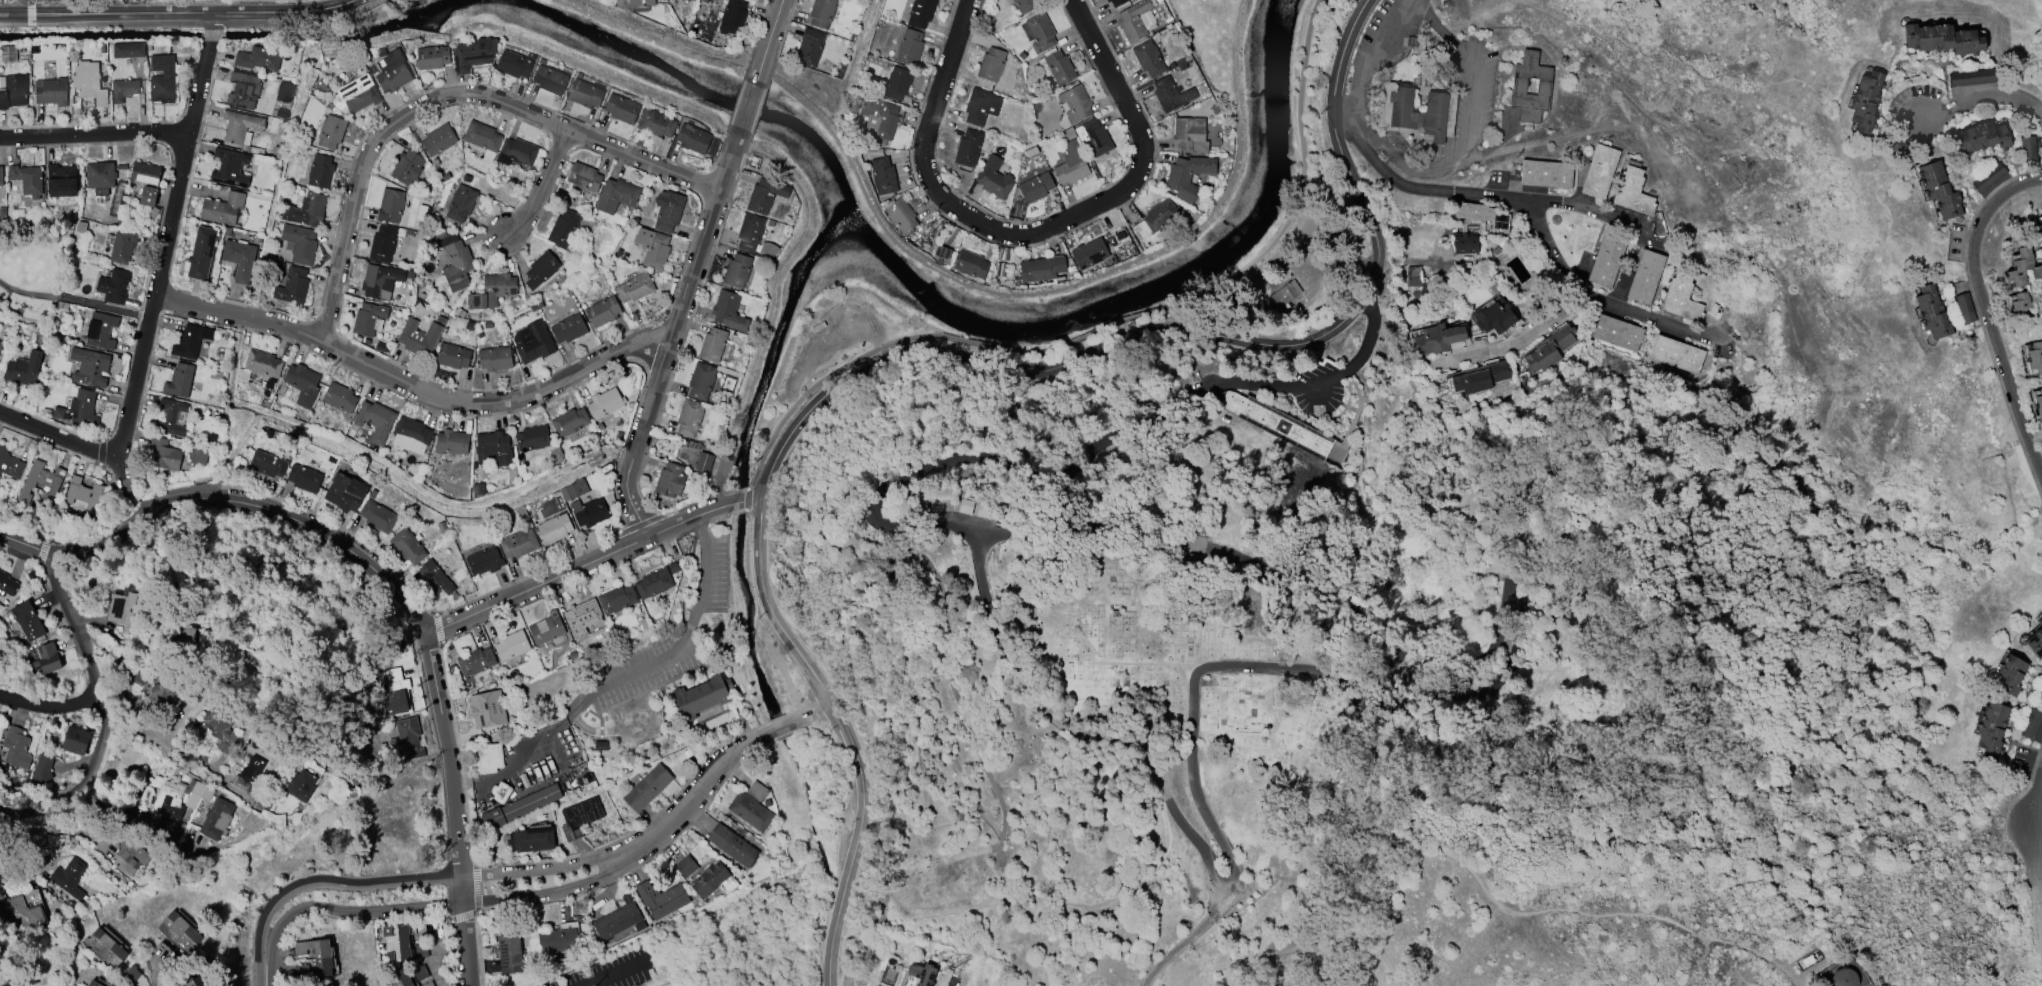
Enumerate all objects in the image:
building: (756, 0)
building: (637, 2)
building: (1116, 2)
road: (18, 5)
building: (1026, 6)
road: (178, 13)
building: (821, 13)
building: (920, 13)
building: (732, 17)
building: (1133, 21)
road: (212, 22)
road: (774, 26)
building: (1040, 32)
road: (210, 35)
building: (1942, 39)
building: (909, 46)
building: (809, 47)
building: (128, 50)
building: (8, 53)
building: (472, 53)
road: (1346, 53)
building: (431, 57)
building: (258, 58)
building: (1148, 58)
road: (1372, 60)
building: (512, 64)
building: (991, 64)
building: (1059, 67)
building: (393, 72)
building: (1972, 77)
building: (162, 79)
building: (549, 79)
building: (88, 82)
building: (897, 83)
building: (1518, 86)
building: (123, 90)
building: (243, 90)
building: (13, 91)
building: (50, 91)
building: (284, 92)
building: (359, 93)
building: (584, 93)
building: (1171, 94)
road: (445, 97)
road: (750, 101)
building: (1865, 101)
road: (1981, 101)
building: (1075, 103)
building: (980, 106)
building: (621, 109)
building: (1399, 112)
road: (1469, 114)
building: (879, 117)
building: (656, 123)
building: (240, 126)
road: (1363, 129)
building: (330, 132)
building: (1189, 134)
building: (481, 136)
building: (1095, 137)
building: (1982, 137)
building: (692, 139)
building: (438, 140)
road: (93, 141)
building: (968, 148)
building: (2028, 148)
building: (516, 152)
building: (1070, 165)
building: (407, 167)
building: (230, 168)
building: (320, 171)
building: (1599, 171)
building: (145, 173)
building: (1546, 174)
building: (883, 175)
building: (1, 176)
building: (1188, 176)
building: (99, 177)
building: (583, 177)
building: (1989, 177)
building: (994, 178)
building: (27, 180)
building: (61, 180)
building: (1035, 187)
road: (543, 188)
building: (1938, 190)
building: (1632, 192)
building: (616, 195)
building: (148, 196)
building: (764, 196)
building: (460, 202)
building: (390, 206)
road: (1587, 206)
building: (222, 208)
building: (305, 210)
building: (667, 210)
building: (901, 215)
building: (1482, 215)
building: (1160, 216)
road: (1527, 220)
building: (563, 228)
building: (2037, 231)
building: (749, 233)
road: (1037, 234)
building: (1465, 243)
building: (382, 244)
building: (122, 246)
building: (303, 247)
building: (652, 248)
road: (165, 251)
building: (942, 252)
building: (201, 253)
building: (1089, 253)
building: (239, 259)
building: (1606, 260)
building: (454, 261)
building: (970, 264)
building: (2022, 267)
building: (540, 269)
building: (1041, 269)
building: (737, 270)
park: (33, 275)
building: (1645, 277)
building: (380, 281)
building: (1416, 282)
building: (113, 286)
building: (292, 286)
building: (635, 287)
road: (1055, 290)
building: (492, 291)
building: (1284, 294)
road: (68, 298)
building: (1681, 299)
building: (2020, 301)
building: (1965, 308)
road: (1989, 309)
building: (602, 311)
building: (728, 311)
building: (1932, 312)
road: (146, 316)
building: (1494, 317)
building: (368, 319)
building: (568, 328)
building: (100, 330)
building: (1616, 332)
road: (1109, 333)
building: (417, 337)
building: (1439, 338)
building: (190, 341)
road: (1517, 341)
building: (532, 342)
road: (668, 343)
building: (712, 344)
building: (1, 345)
building: (1547, 350)
building: (1676, 354)
building: (452, 356)
building: (2035, 357)
building: (494, 358)
building: (261, 363)
building: (89, 367)
road: (1024, 368)
building: (23, 369)
building: (1479, 377)
building: (179, 380)
building: (701, 381)
building: (302, 384)
road: (413, 389)
building: (339, 397)
building: (2039, 402)
building: (604, 403)
building: (79, 409)
building: (171, 417)
building: (689, 417)
building: (375, 420)
building: (569, 422)
building: (1273, 422)
power tower: (739, 424)
building: (411, 431)
road: (60, 438)
building: (532, 438)
building: (451, 442)
building: (493, 447)
building: (164, 454)
building: (197, 455)
building: (703, 462)
building: (10, 464)
building: (266, 464)
building: (304, 478)
building: (670, 480)
building: (40, 481)
road: (137, 486)
building: (573, 490)
building: (345, 492)
building: (82, 493)
road: (742, 504)
road: (756, 504)
road: (875, 506)
building: (966, 506)
building: (986, 511)
building: (588, 512)
building: (377, 516)
building: (554, 529)
building: (518, 543)
building: (407, 546)
building: (483, 561)
road: (371, 578)
building: (434, 578)
building: (653, 583)
building: (7, 585)
building: (616, 599)
building: (121, 607)
building: (582, 614)
building: (27, 620)
building: (546, 628)
road: (690, 629)
building: (184, 635)
building: (2035, 641)
building: (511, 645)
building: (46, 658)
building: (475, 661)
road: (94, 674)
road: (738, 674)
building: (2009, 674)
building: (165, 693)
building: (2040, 693)
building: (396, 694)
building: (702, 700)
road: (50, 707)
building: (487, 709)
road: (811, 715)
building: (2031, 723)
building: (220, 729)
building: (1991, 729)
road: (617, 730)
road: (780, 731)
road: (160, 738)
building: (406, 739)
building: (75, 740)
building: (15, 747)
road: (531, 748)
road: (558, 751)
building: (489, 758)
building: (41, 769)
building: (247, 774)
road: (1195, 779)
building: (301, 785)
building: (647, 788)
building: (174, 800)
building: (519, 807)
building: (751, 807)
road: (41, 808)
road: (455, 809)
building: (579, 817)
building: (216, 819)
building: (534, 838)
road: (857, 842)
road: (2038, 842)
building: (732, 845)
road: (638, 851)
building: (130, 857)
building: (685, 866)
building: (69, 877)
building: (2, 879)
building: (709, 880)
building: (661, 899)
road: (332, 900)
road: (2039, 909)
building: (24, 910)
power tower: (581, 910)
building: (616, 921)
building: (181, 930)
building: (557, 940)
building: (396, 943)
building: (105, 948)
building: (509, 953)
building: (161, 956)
building: (322, 959)
parking lot: (612, 970)
road: (612, 972)
road: (1787, 973)
building: (922, 974)
road: (155, 977)
building: (1843, 977)
building: (402, 979)
building: (194, 982)
building: (93, 983)
road: (953, 983)
building: (324, 985)

